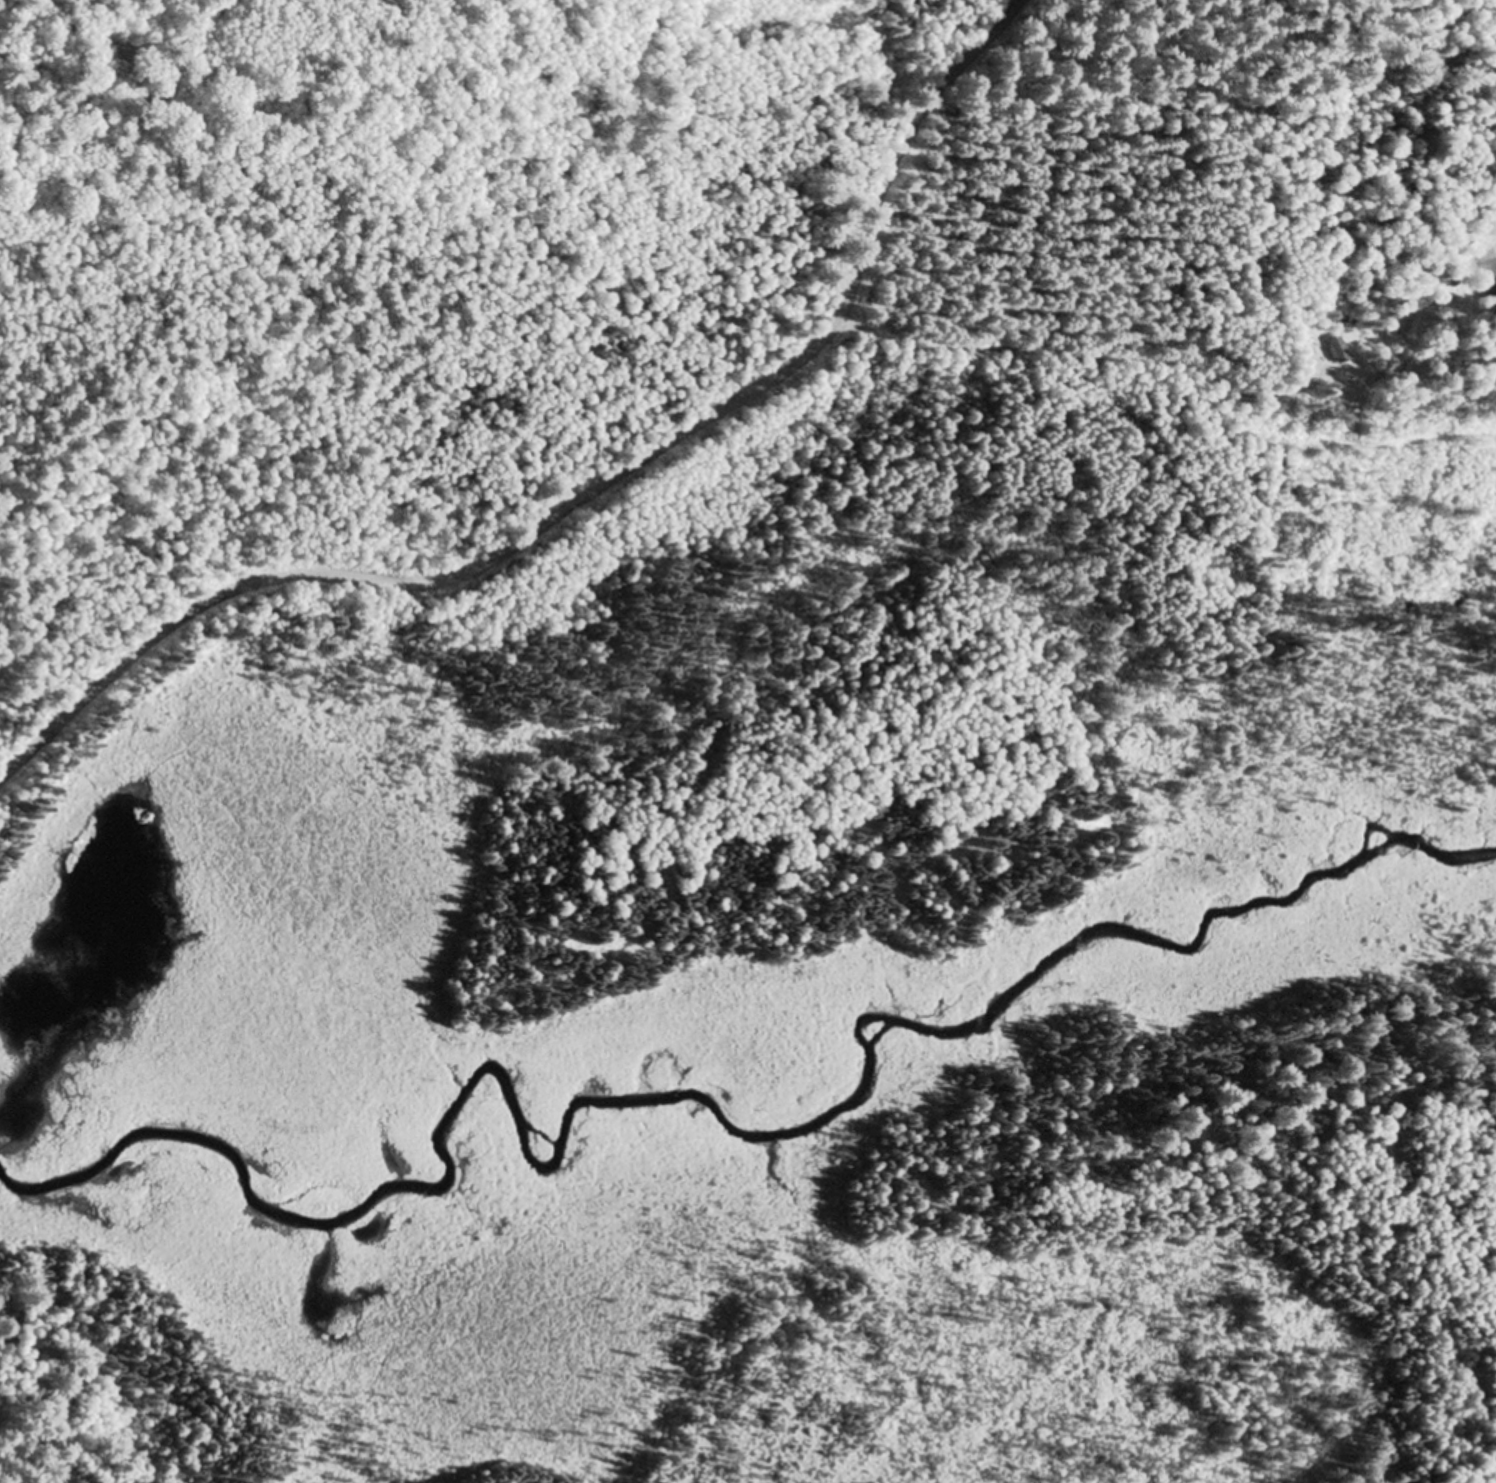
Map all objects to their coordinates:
building: (1334, 348)
road: (1110, 381)
road: (582, 490)

